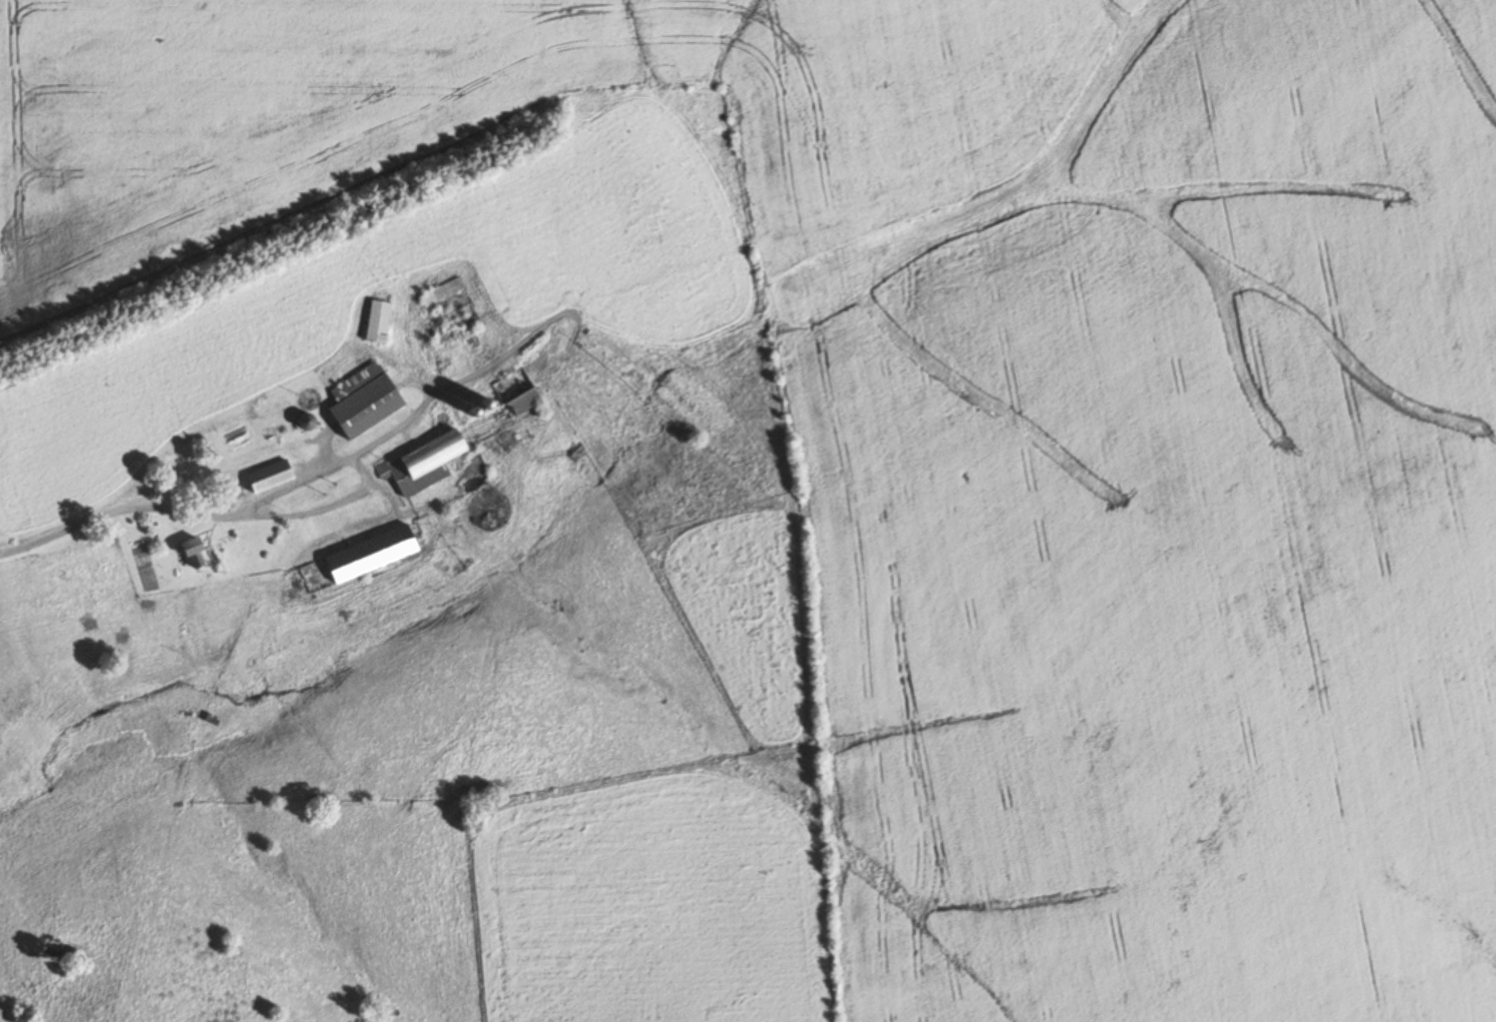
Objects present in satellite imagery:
building: (444, 292)
building: (382, 322)
building: (523, 392)
building: (368, 400)
building: (426, 466)
road: (360, 473)
building: (272, 478)
road: (118, 509)
building: (198, 554)
building: (362, 558)

